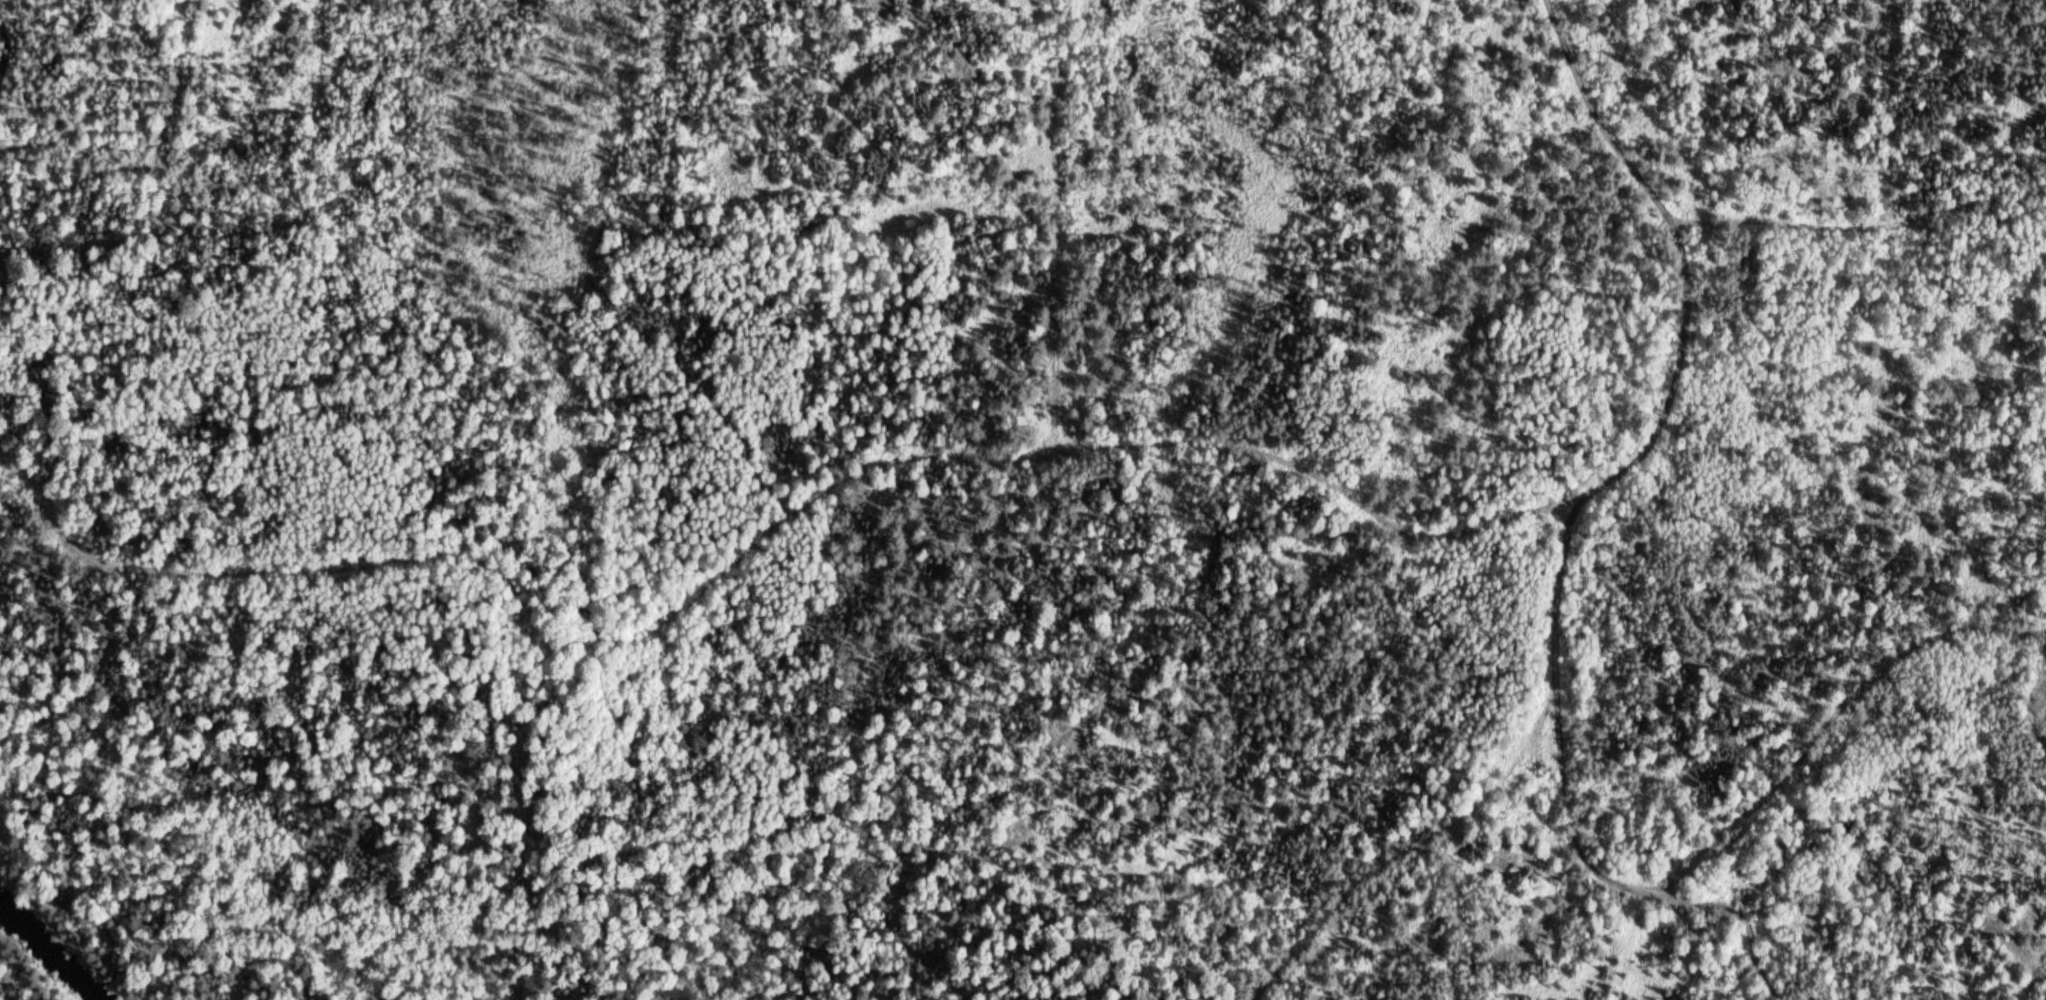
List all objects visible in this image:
road: (1846, 229)
road: (819, 485)
road: (1589, 525)
river: (57, 950)

